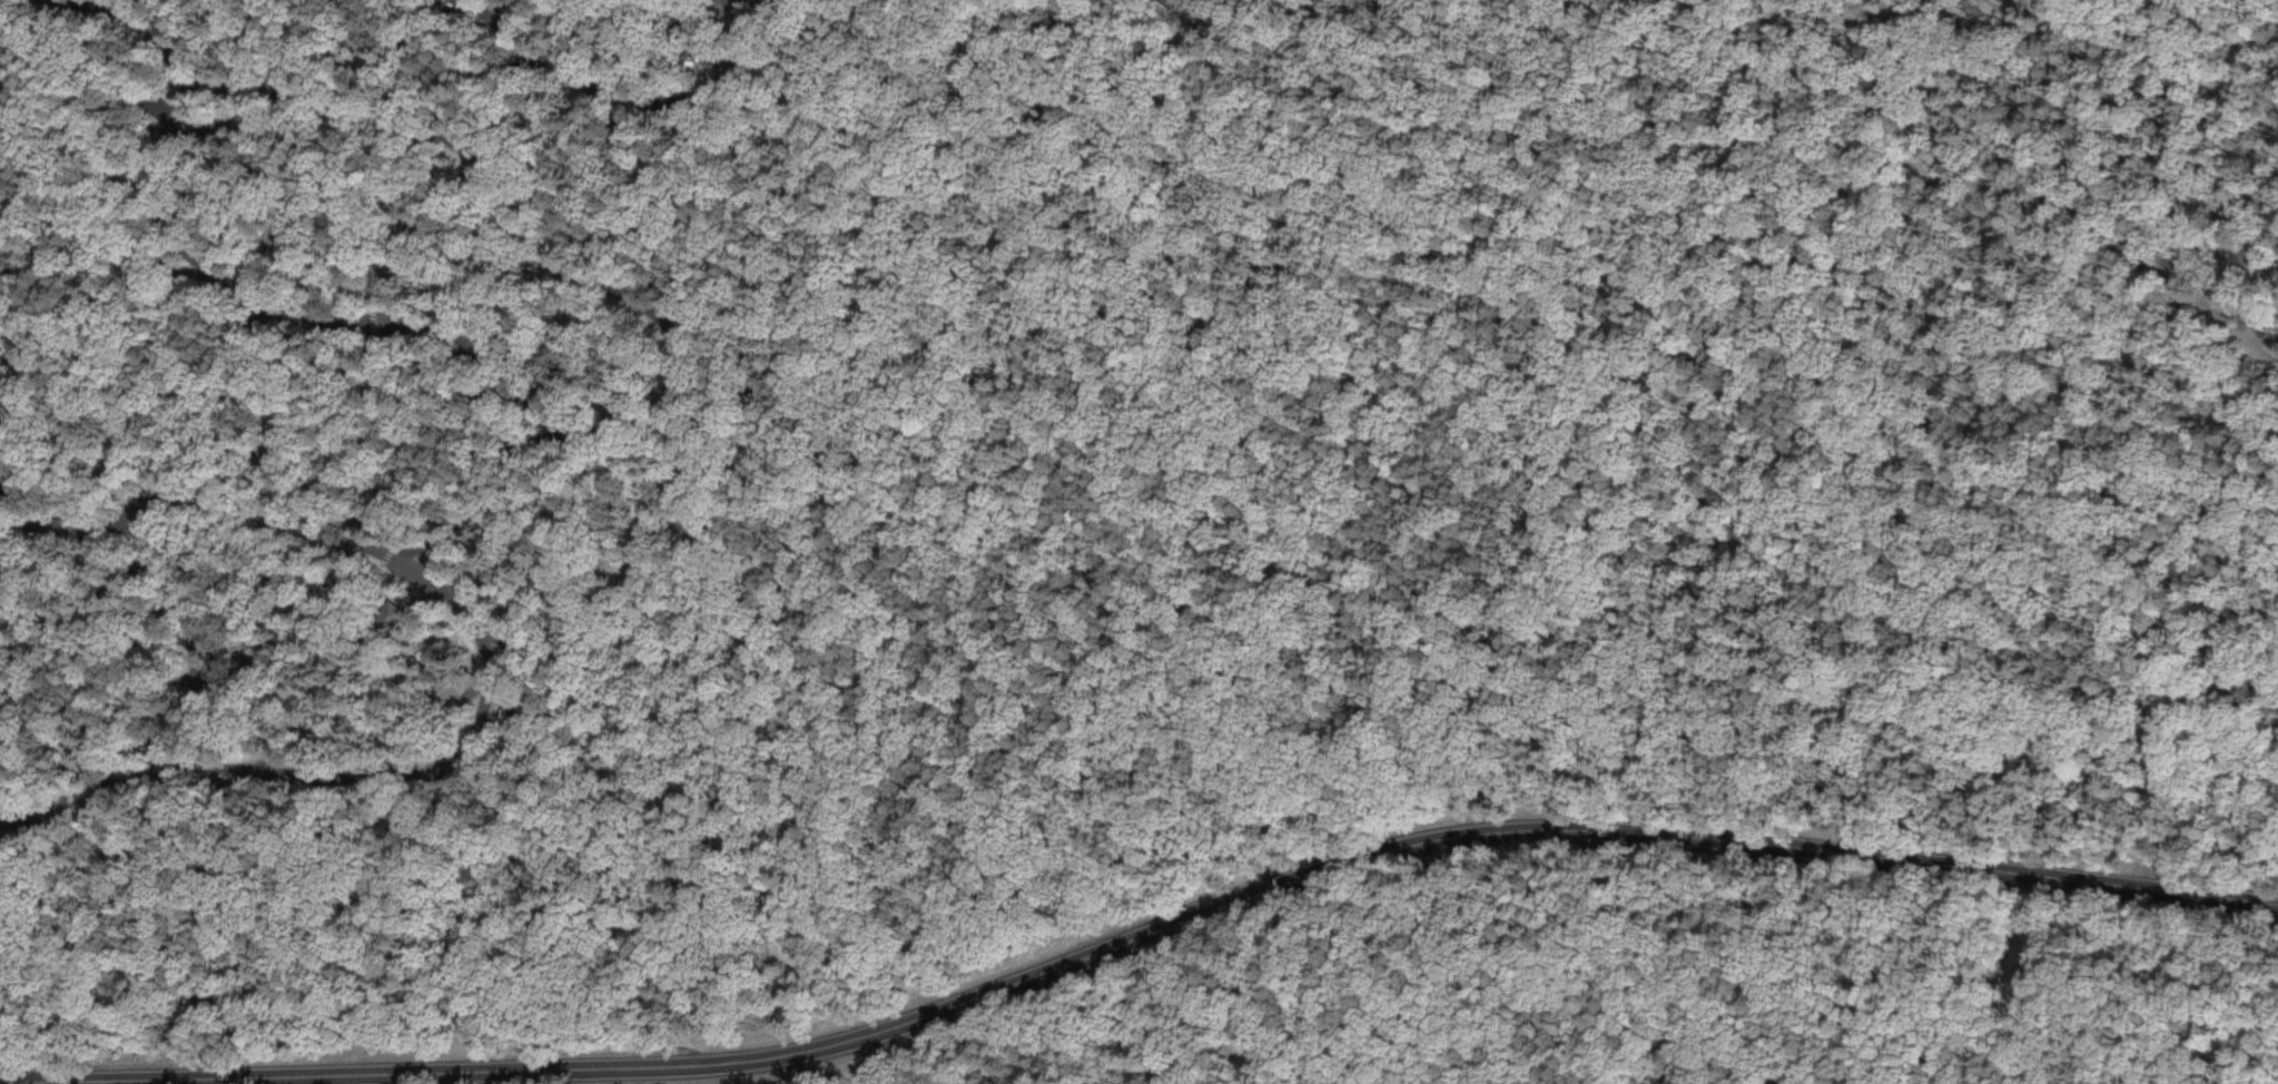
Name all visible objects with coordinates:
road: (108, 13)
road: (603, 104)
road: (1983, 180)
building: (373, 273)
road: (778, 347)
road: (622, 421)
road: (1603, 450)
road: (840, 590)
road: (440, 597)
building: (382, 610)
road: (183, 640)
road: (617, 692)
road: (77, 801)
road: (798, 870)
road: (1162, 929)
road: (1127, 1016)
road: (150, 1082)

